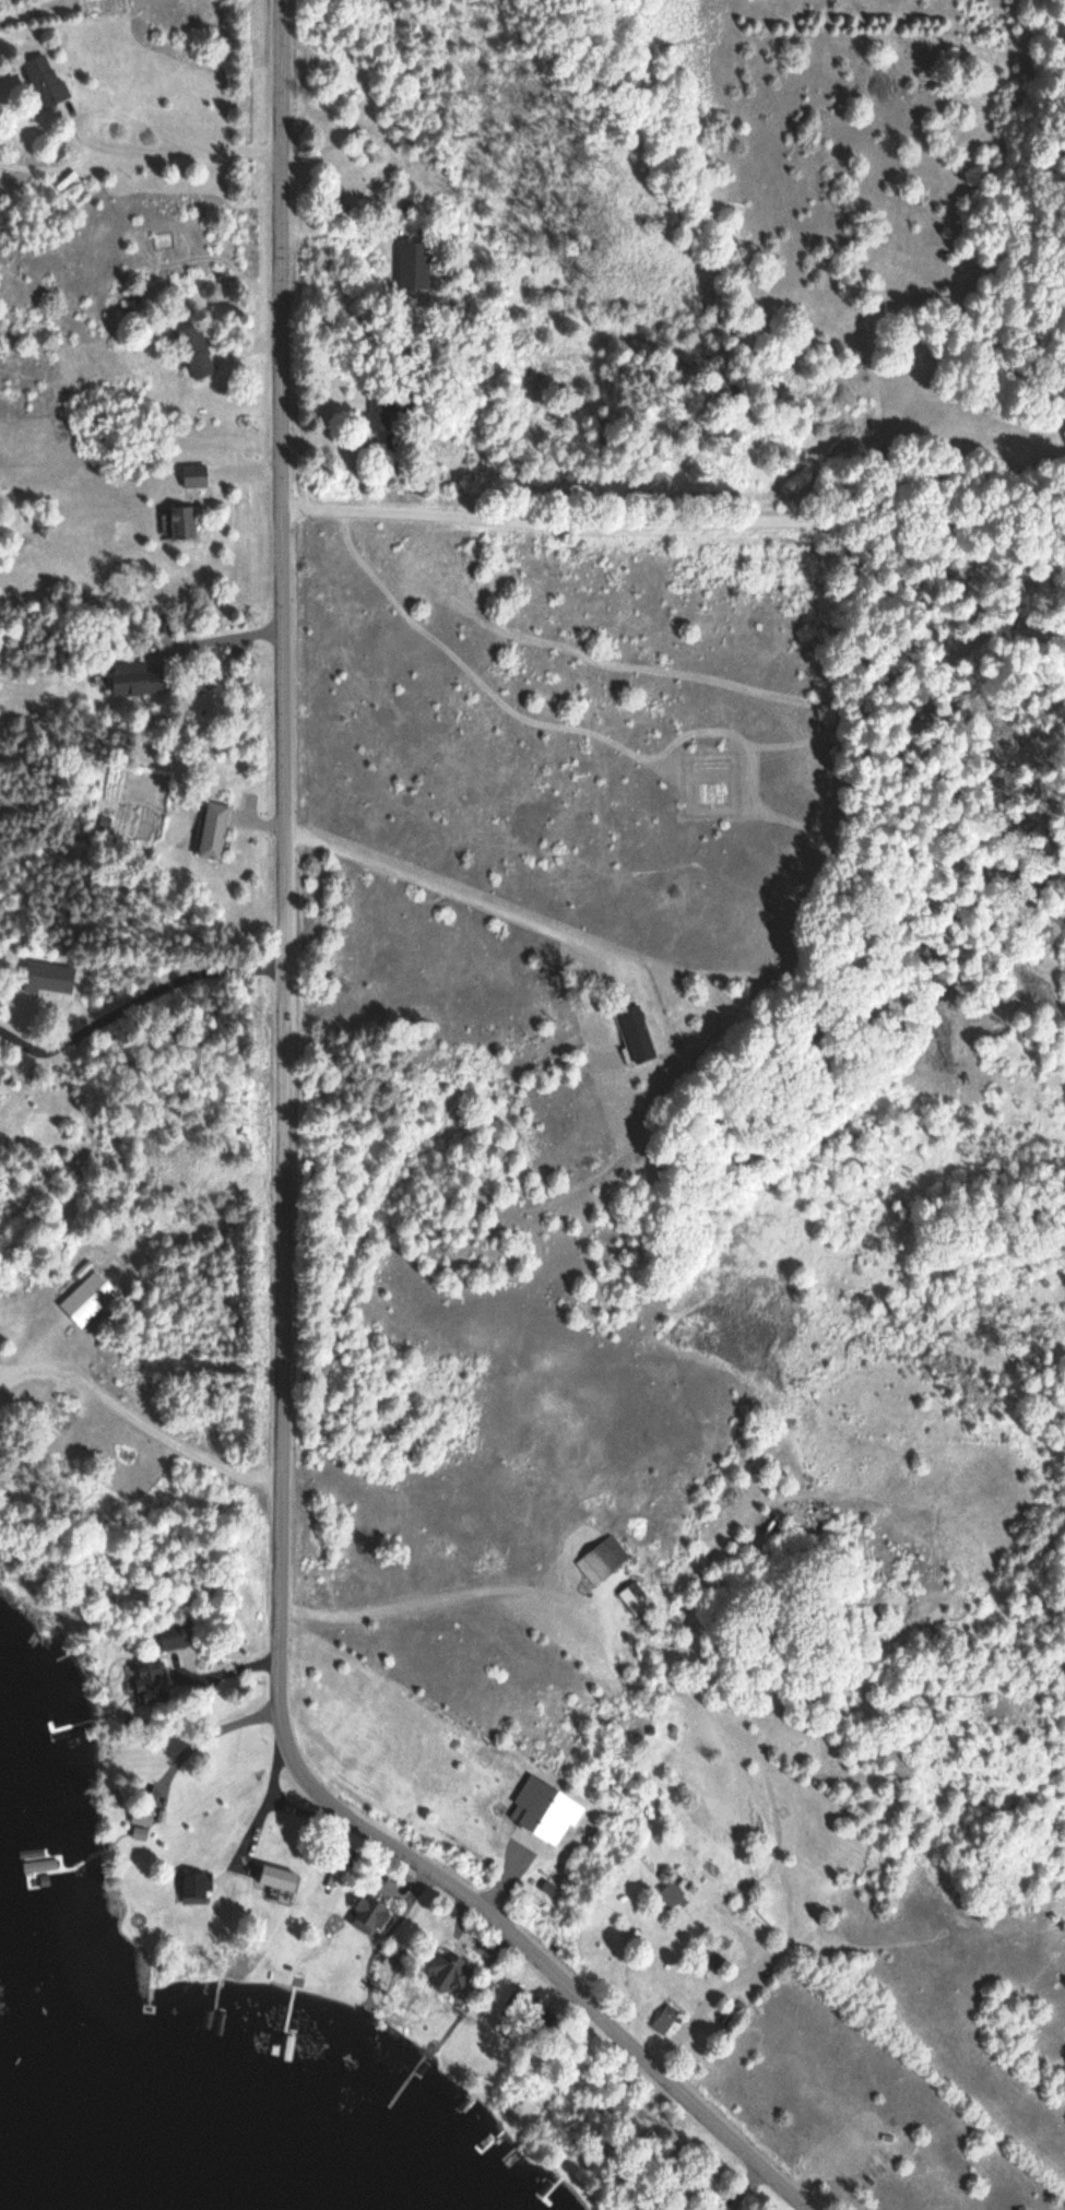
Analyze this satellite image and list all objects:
building: (45, 81)
building: (334, 200)
building: (414, 265)
building: (197, 353)
building: (390, 409)
building: (194, 477)
building: (182, 524)
road: (672, 528)
building: (139, 681)
building: (214, 831)
road: (284, 873)
road: (451, 897)
building: (49, 979)
building: (707, 992)
building: (636, 1035)
building: (602, 1561)
building: (635, 1598)
building: (177, 1636)
building: (152, 1683)
building: (141, 1817)
building: (277, 1879)
building: (193, 1886)
building: (369, 1915)
building: (711, 1960)
road: (548, 1971)
building: (449, 1974)
building: (528, 2011)
building: (665, 2020)
building: (611, 2114)
building: (685, 2155)

